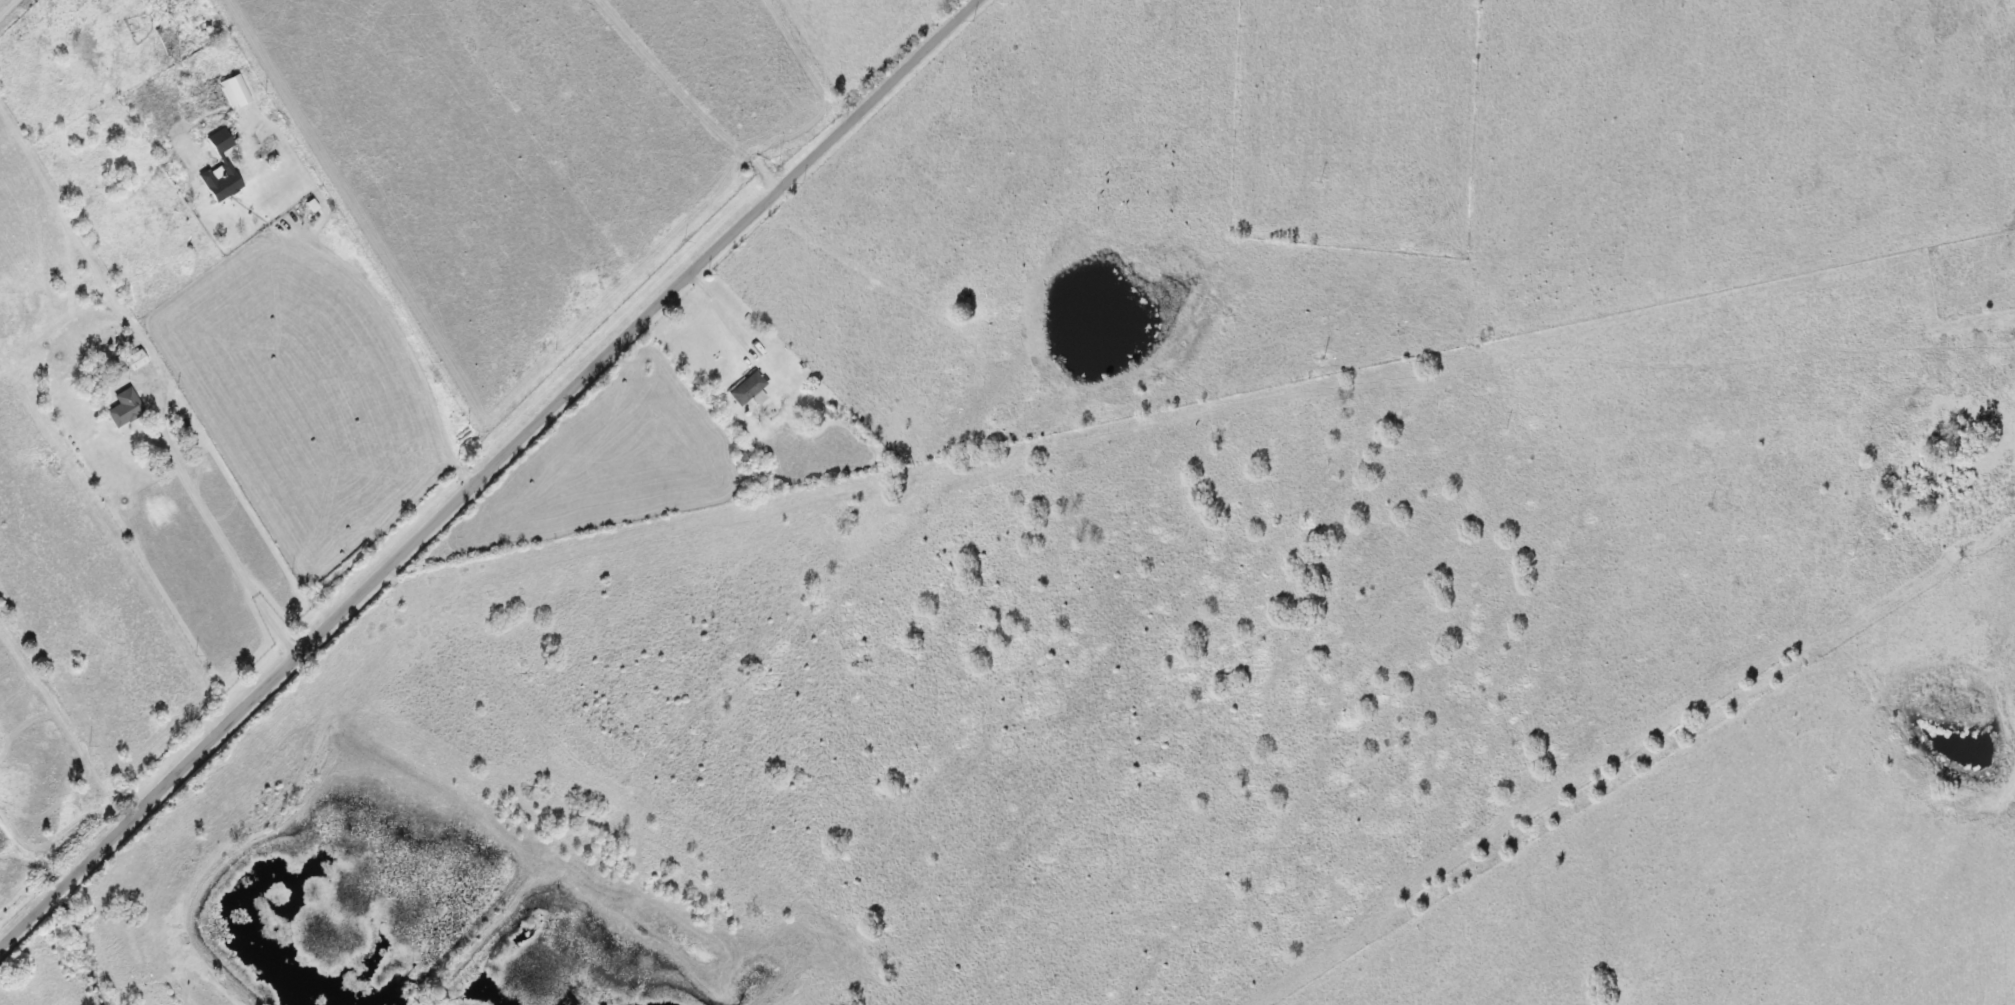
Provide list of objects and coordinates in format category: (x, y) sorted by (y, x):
building: (233, 92)
road: (692, 93)
building: (222, 161)
road: (402, 341)
building: (133, 360)
building: (747, 390)
building: (123, 408)
road: (485, 471)
road: (208, 509)

